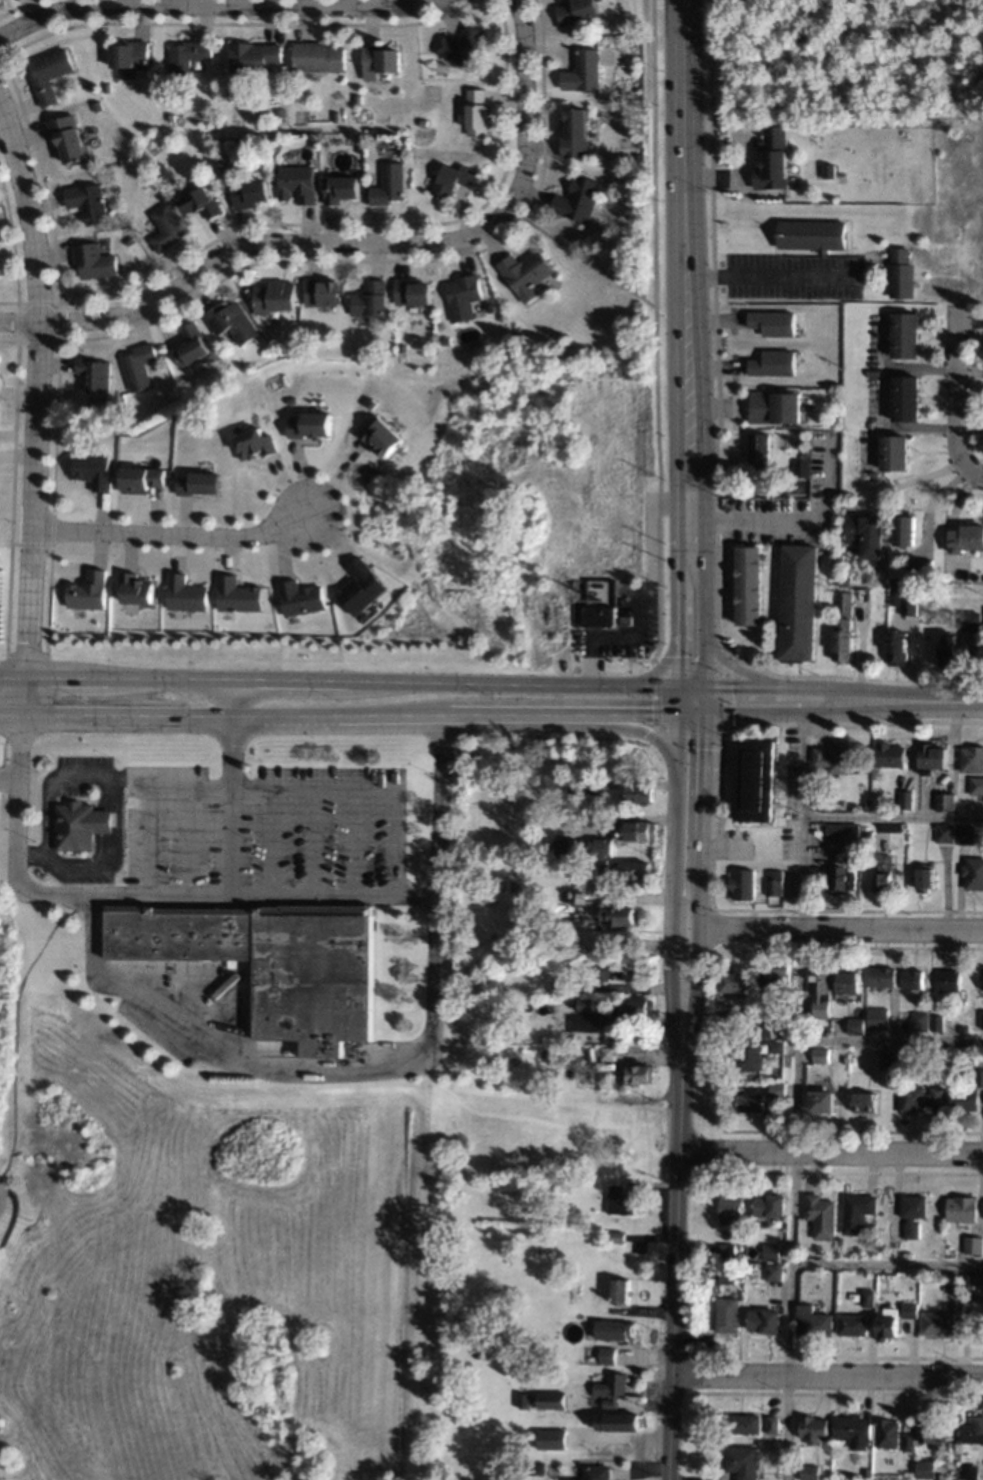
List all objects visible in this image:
road: (61, 5)
road: (214, 7)
building: (576, 10)
building: (461, 44)
building: (128, 53)
building: (252, 54)
building: (317, 55)
building: (186, 58)
building: (378, 59)
building: (582, 71)
building: (48, 73)
building: (89, 87)
building: (105, 87)
building: (96, 106)
building: (475, 111)
building: (279, 112)
building: (169, 116)
road: (524, 119)
building: (574, 131)
building: (66, 136)
building: (312, 139)
building: (772, 158)
building: (160, 171)
building: (827, 171)
road: (539, 175)
building: (634, 177)
building: (452, 179)
building: (297, 181)
building: (388, 183)
building: (339, 188)
road: (495, 191)
building: (247, 192)
building: (576, 197)
building: (87, 201)
building: (199, 202)
building: (165, 227)
building: (119, 234)
building: (811, 234)
building: (129, 240)
road: (256, 247)
road: (682, 249)
road: (573, 252)
building: (93, 260)
building: (524, 273)
building: (899, 273)
road: (771, 276)
building: (411, 291)
building: (320, 292)
building: (463, 295)
building: (272, 296)
building: (369, 298)
building: (230, 321)
road: (20, 322)
building: (772, 323)
building: (516, 329)
road: (655, 334)
building: (903, 334)
building: (445, 339)
building: (190, 345)
building: (401, 347)
building: (264, 352)
building: (559, 359)
building: (772, 363)
building: (137, 366)
building: (94, 374)
road: (953, 395)
building: (567, 397)
building: (904, 398)
building: (773, 406)
road: (38, 410)
building: (806, 415)
building: (312, 424)
building: (867, 425)
building: (382, 435)
building: (255, 442)
building: (758, 449)
building: (892, 452)
building: (800, 468)
building: (93, 469)
road: (974, 473)
building: (870, 475)
building: (141, 479)
road: (909, 479)
building: (200, 482)
road: (791, 522)
building: (903, 529)
road: (173, 533)
building: (864, 534)
building: (965, 538)
building: (820, 551)
building: (918, 565)
building: (842, 581)
building: (893, 582)
building: (585, 584)
building: (749, 585)
building: (136, 587)
building: (361, 587)
road: (678, 590)
building: (88, 591)
road: (703, 591)
building: (186, 594)
building: (238, 595)
building: (301, 597)
building: (893, 597)
building: (799, 602)
building: (842, 602)
building: (907, 606)
building: (596, 614)
building: (625, 619)
building: (969, 620)
building: (842, 640)
building: (895, 648)
building: (947, 649)
traffic signals: (680, 656)
road: (683, 668)
road: (739, 671)
road: (717, 673)
road: (339, 679)
road: (690, 686)
traffic signals: (729, 687)
road: (824, 688)
road: (655, 695)
road: (964, 699)
road: (677, 700)
road: (703, 700)
road: (725, 700)
road: (690, 713)
road: (825, 713)
traffic signals: (650, 714)
road: (338, 718)
road: (624, 727)
road: (660, 728)
road: (724, 732)
road: (693, 734)
road: (675, 736)
road: (702, 742)
traffic signals: (702, 748)
building: (894, 754)
building: (839, 757)
building: (973, 758)
building: (934, 759)
building: (556, 764)
road: (7, 773)
road: (91, 773)
building: (757, 780)
building: (556, 782)
building: (590, 782)
building: (977, 785)
road: (230, 786)
building: (576, 786)
road: (366, 788)
building: (638, 793)
building: (908, 799)
building: (948, 801)
road: (893, 819)
building: (79, 824)
building: (638, 830)
building: (845, 832)
building: (870, 833)
building: (947, 833)
building: (966, 833)
road: (674, 842)
building: (564, 846)
building: (601, 847)
road: (700, 849)
building: (857, 854)
road: (109, 861)
building: (593, 864)
building: (633, 870)
building: (974, 873)
building: (885, 874)
building: (842, 877)
building: (928, 880)
building: (776, 881)
building: (745, 883)
road: (234, 895)
building: (591, 897)
building: (616, 915)
road: (686, 926)
road: (840, 927)
building: (271, 961)
building: (611, 969)
building: (775, 974)
building: (885, 977)
building: (981, 978)
building: (914, 979)
building: (951, 980)
building: (850, 981)
building: (736, 982)
building: (560, 985)
building: (822, 991)
building: (585, 1004)
road: (676, 1004)
road: (688, 1004)
building: (635, 1006)
building: (741, 1015)
building: (905, 1017)
building: (921, 1020)
building: (880, 1021)
building: (938, 1022)
building: (982, 1022)
road: (13, 1024)
building: (764, 1025)
building: (858, 1026)
building: (748, 1030)
building: (965, 1030)
road: (889, 1041)
building: (778, 1046)
building: (602, 1052)
building: (943, 1053)
building: (751, 1055)
building: (822, 1055)
building: (847, 1059)
building: (889, 1060)
road: (289, 1065)
building: (636, 1074)
building: (980, 1077)
road: (794, 1084)
building: (779, 1091)
building: (920, 1098)
building: (966, 1100)
building: (823, 1101)
building: (866, 1101)
building: (751, 1102)
road: (829, 1151)
building: (566, 1187)
building: (620, 1200)
building: (772, 1205)
building: (735, 1209)
building: (963, 1209)
building: (859, 1211)
building: (915, 1213)
road: (11, 1214)
building: (823, 1216)
building: (614, 1236)
building: (894, 1244)
building: (974, 1245)
building: (741, 1248)
building: (729, 1250)
building: (773, 1252)
building: (835, 1253)
building: (741, 1258)
road: (886, 1262)
building: (741, 1269)
building: (750, 1270)
building: (776, 1272)
building: (728, 1273)
building: (980, 1276)
road: (672, 1281)
building: (971, 1281)
building: (955, 1282)
building: (619, 1291)
building: (871, 1298)
building: (912, 1310)
building: (728, 1315)
building: (766, 1320)
building: (816, 1321)
building: (891, 1323)
building: (942, 1324)
building: (855, 1325)
building: (611, 1329)
building: (606, 1355)
road: (826, 1374)
building: (609, 1389)
building: (548, 1397)
building: (553, 1418)
building: (620, 1421)
building: (746, 1423)
building: (775, 1424)
building: (816, 1428)
building: (975, 1429)
building: (857, 1430)
building: (933, 1430)
building: (554, 1433)
building: (891, 1433)
building: (910, 1442)
building: (744, 1461)
building: (536, 1464)
building: (928, 1468)
building: (812, 1472)
building: (973, 1472)
building: (595, 1473)
building: (869, 1473)

